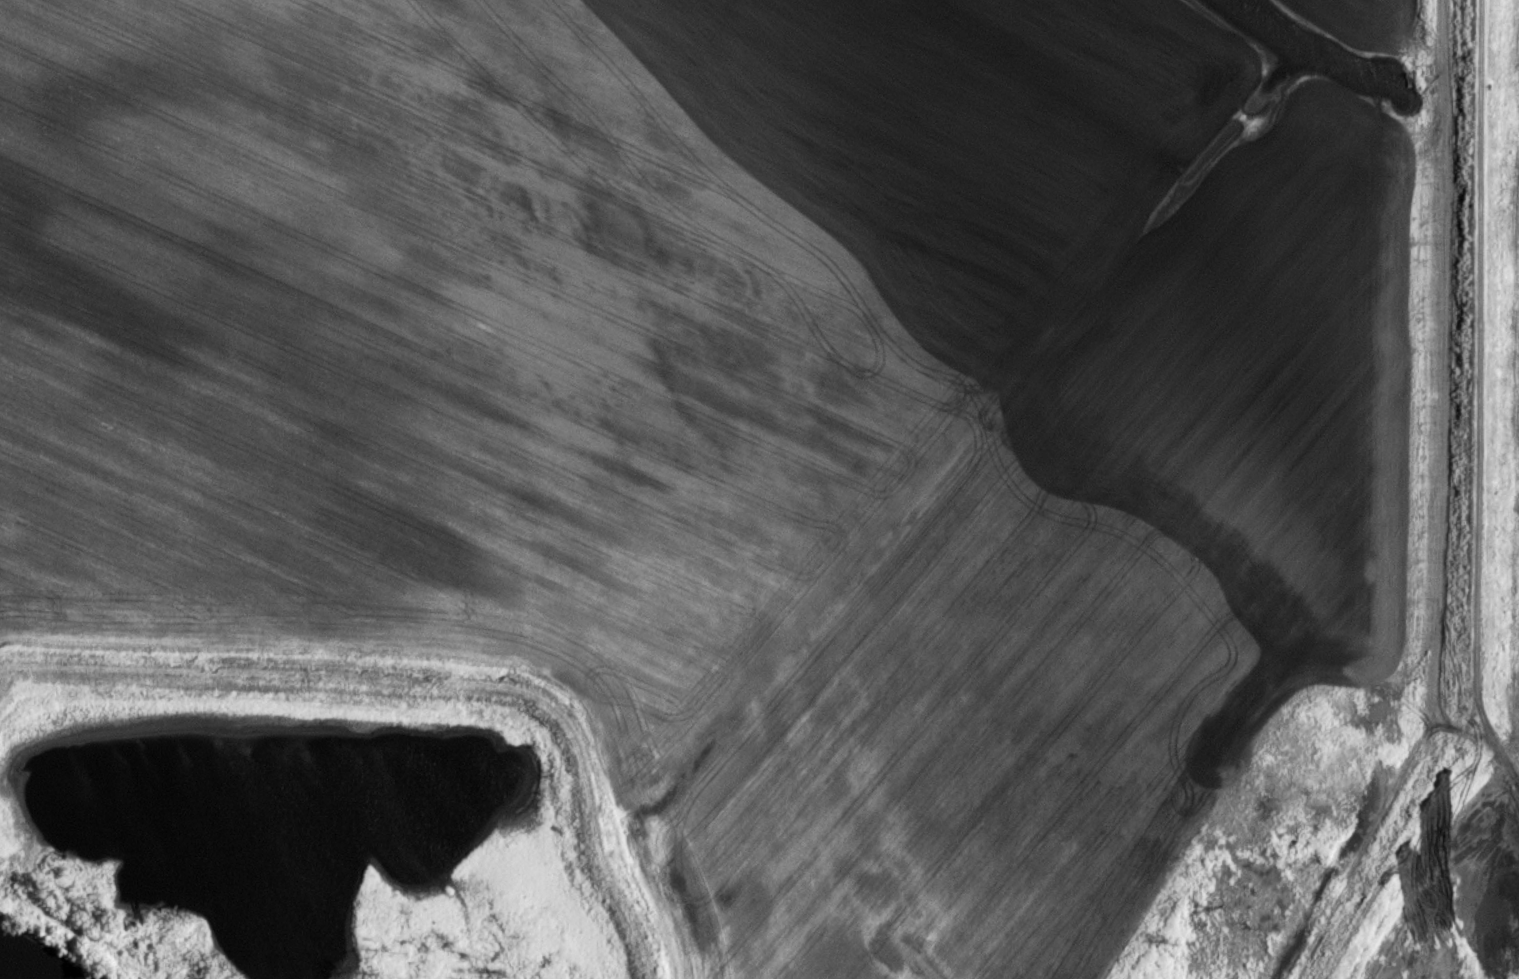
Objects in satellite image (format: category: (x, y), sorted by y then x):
road: (1439, 310)

